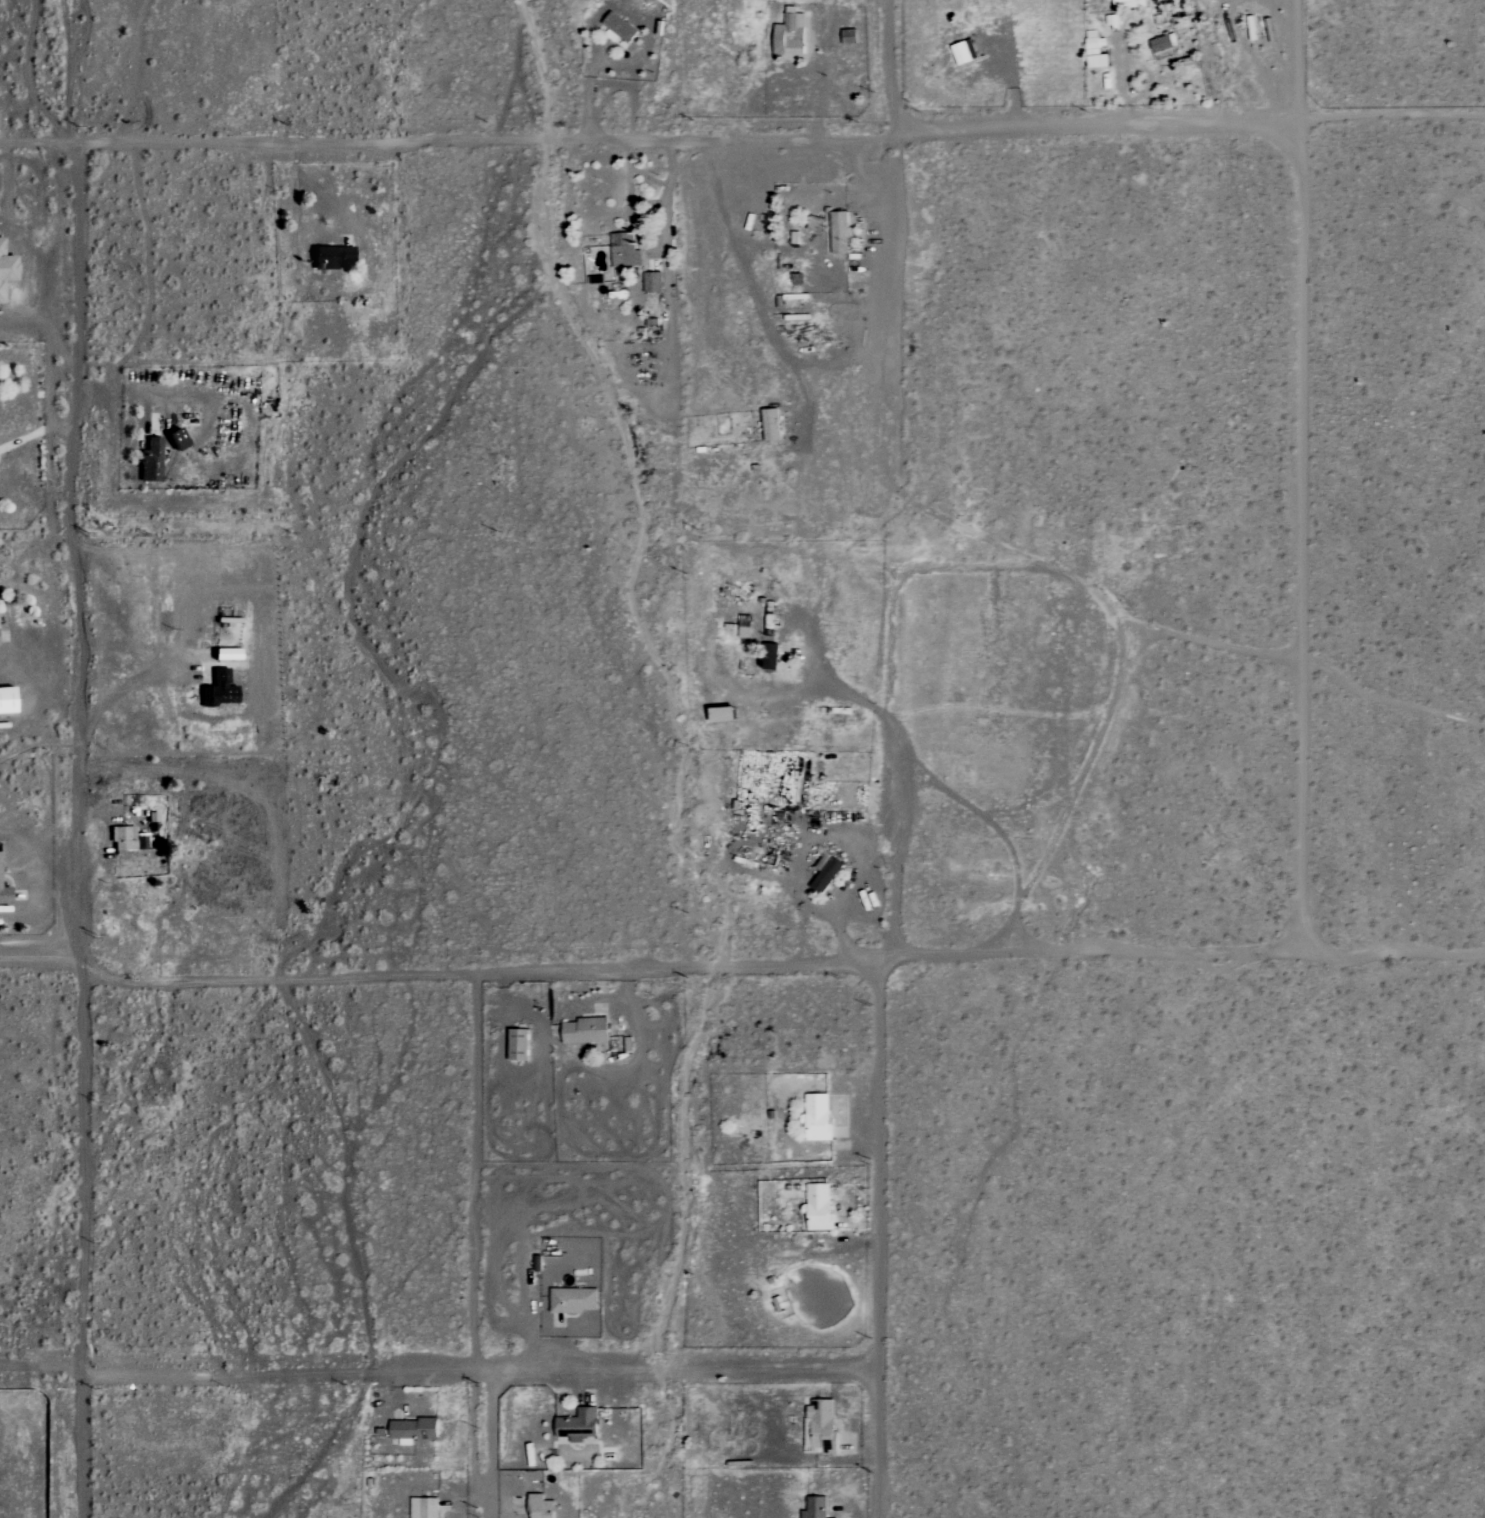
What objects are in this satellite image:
building: (1131, 4)
building: (619, 27)
building: (789, 37)
building: (1163, 46)
building: (1096, 51)
building: (965, 52)
road: (608, 64)
road: (889, 68)
road: (829, 70)
road: (760, 76)
road: (742, 139)
road: (313, 187)
building: (841, 233)
building: (625, 251)
building: (331, 257)
building: (6, 271)
building: (652, 282)
road: (121, 388)
building: (771, 424)
road: (35, 432)
building: (176, 438)
building: (151, 460)
road: (1301, 543)
building: (226, 654)
building: (771, 656)
road: (827, 688)
road: (121, 690)
building: (219, 690)
building: (6, 700)
road: (78, 758)
road: (900, 832)
building: (122, 838)
building: (826, 872)
building: (4, 895)
road: (742, 967)
building: (586, 1031)
building: (519, 1045)
building: (818, 1117)
road: (475, 1169)
building: (819, 1207)
road: (879, 1241)
building: (573, 1300)
road: (480, 1366)
road: (43, 1370)
building: (822, 1420)
building: (579, 1425)
building: (414, 1429)
road: (494, 1442)
building: (543, 1507)
building: (425, 1508)
building: (816, 1508)

